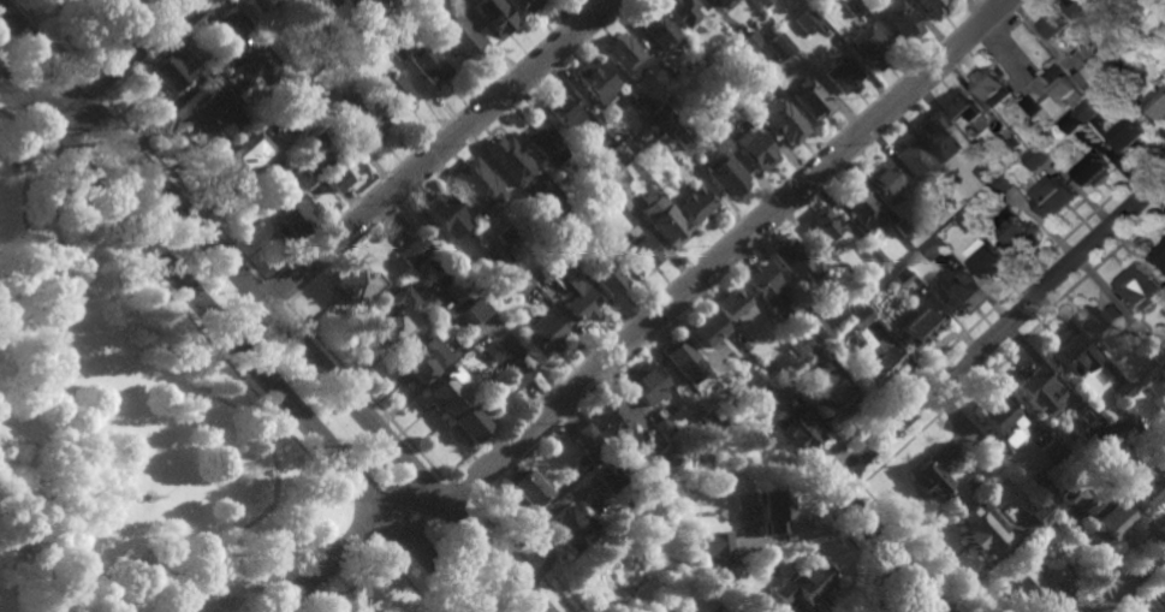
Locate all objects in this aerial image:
building: (451, 0)
building: (807, 0)
building: (326, 1)
building: (114, 2)
building: (411, 2)
building: (723, 2)
building: (763, 2)
building: (261, 4)
building: (1147, 4)
building: (519, 5)
building: (369, 7)
building: (852, 7)
building: (931, 7)
building: (1083, 7)
building: (682, 11)
building: (494, 19)
building: (230, 20)
building: (807, 20)
building: (899, 20)
building: (1056, 24)
building: (656, 28)
building: (457, 34)
building: (391, 37)
road: (50, 38)
road: (129, 38)
building: (750, 41)
building: (779, 44)
building: (868, 44)
building: (1155, 49)
building: (625, 54)
building: (760, 55)
road: (119, 64)
building: (427, 65)
building: (667, 69)
building: (166, 71)
building: (1102, 72)
building: (840, 75)
building: (1125, 79)
building: (595, 82)
building: (1087, 83)
building: (311, 84)
building: (993, 85)
road: (94, 87)
building: (732, 87)
building: (396, 93)
building: (1056, 94)
building: (809, 99)
building: (224, 100)
building: (963, 105)
building: (305, 106)
building: (1160, 106)
building: (706, 109)
building: (561, 111)
building: (1090, 111)
building: (661, 115)
building: (362, 119)
building: (785, 121)
building: (1075, 123)
building: (671, 133)
building: (1133, 133)
building: (939, 138)
building: (660, 141)
building: (629, 143)
building: (1018, 144)
building: (545, 145)
building: (754, 148)
building: (319, 150)
building: (1042, 153)
building: (242, 156)
building: (617, 156)
building: (509, 160)
building: (915, 162)
road: (420, 165)
building: (281, 166)
building: (1098, 171)
building: (725, 173)
building: (988, 173)
building: (334, 179)
building: (587, 179)
building: (616, 180)
building: (882, 182)
building: (476, 183)
building: (1006, 184)
road: (183, 189)
building: (1057, 196)
building: (695, 203)
building: (857, 206)
building: (542, 215)
building: (290, 216)
building: (441, 216)
building: (590, 218)
building: (662, 220)
building: (974, 220)
building: (901, 227)
building: (1020, 228)
building: (825, 230)
building: (506, 237)
building: (545, 240)
building: (638, 249)
building: (937, 249)
building: (412, 251)
road: (724, 251)
building: (872, 252)
building: (498, 256)
building: (1160, 257)
building: (989, 260)
building: (795, 261)
building: (888, 266)
building: (842, 272)
building: (605, 275)
building: (899, 278)
building: (762, 283)
building: (521, 284)
building: (347, 286)
building: (451, 286)
building: (1142, 287)
road: (274, 292)
building: (959, 292)
building: (808, 293)
building: (575, 296)
building: (397, 299)
road: (176, 305)
building: (735, 308)
road: (269, 309)
building: (860, 317)
road: (1012, 319)
building: (810, 325)
building: (1102, 326)
building: (385, 328)
building: (920, 328)
building: (705, 331)
building: (541, 333)
road: (469, 341)
road: (239, 344)
building: (745, 345)
building: (1065, 355)
building: (1155, 355)
building: (493, 356)
building: (682, 357)
building: (815, 358)
building: (420, 362)
building: (876, 362)
building: (513, 374)
building: (724, 376)
building: (646, 385)
building: (1154, 387)
building: (1034, 392)
building: (1119, 392)
road: (364, 393)
building: (444, 393)
building: (772, 399)
building: (831, 400)
road: (230, 406)
building: (725, 408)
building: (608, 417)
building: (1121, 418)
building: (994, 420)
building: (469, 421)
building: (1076, 424)
building: (664, 427)
park: (129, 432)
building: (798, 432)
building: (581, 434)
building: (1099, 444)
building: (1163, 448)
building: (594, 453)
building: (941, 453)
building: (1050, 456)
building: (1161, 456)
building: (666, 458)
building: (1163, 464)
building: (608, 477)
building: (928, 481)
building: (1137, 485)
building: (522, 492)
building: (1040, 492)
road: (456, 493)
building: (769, 512)
building: (1038, 516)
building: (1100, 518)
road: (361, 523)
building: (981, 527)
building: (567, 530)
road: (875, 535)
building: (717, 543)
road: (352, 545)
road: (518, 557)
road: (38, 559)
building: (712, 563)
building: (725, 576)
road: (402, 578)
building: (803, 581)
road: (1130, 581)
building: (1033, 583)
road: (352, 584)
road: (881, 590)
building: (1161, 606)
road: (928, 607)
road: (938, 607)
building: (674, 611)

